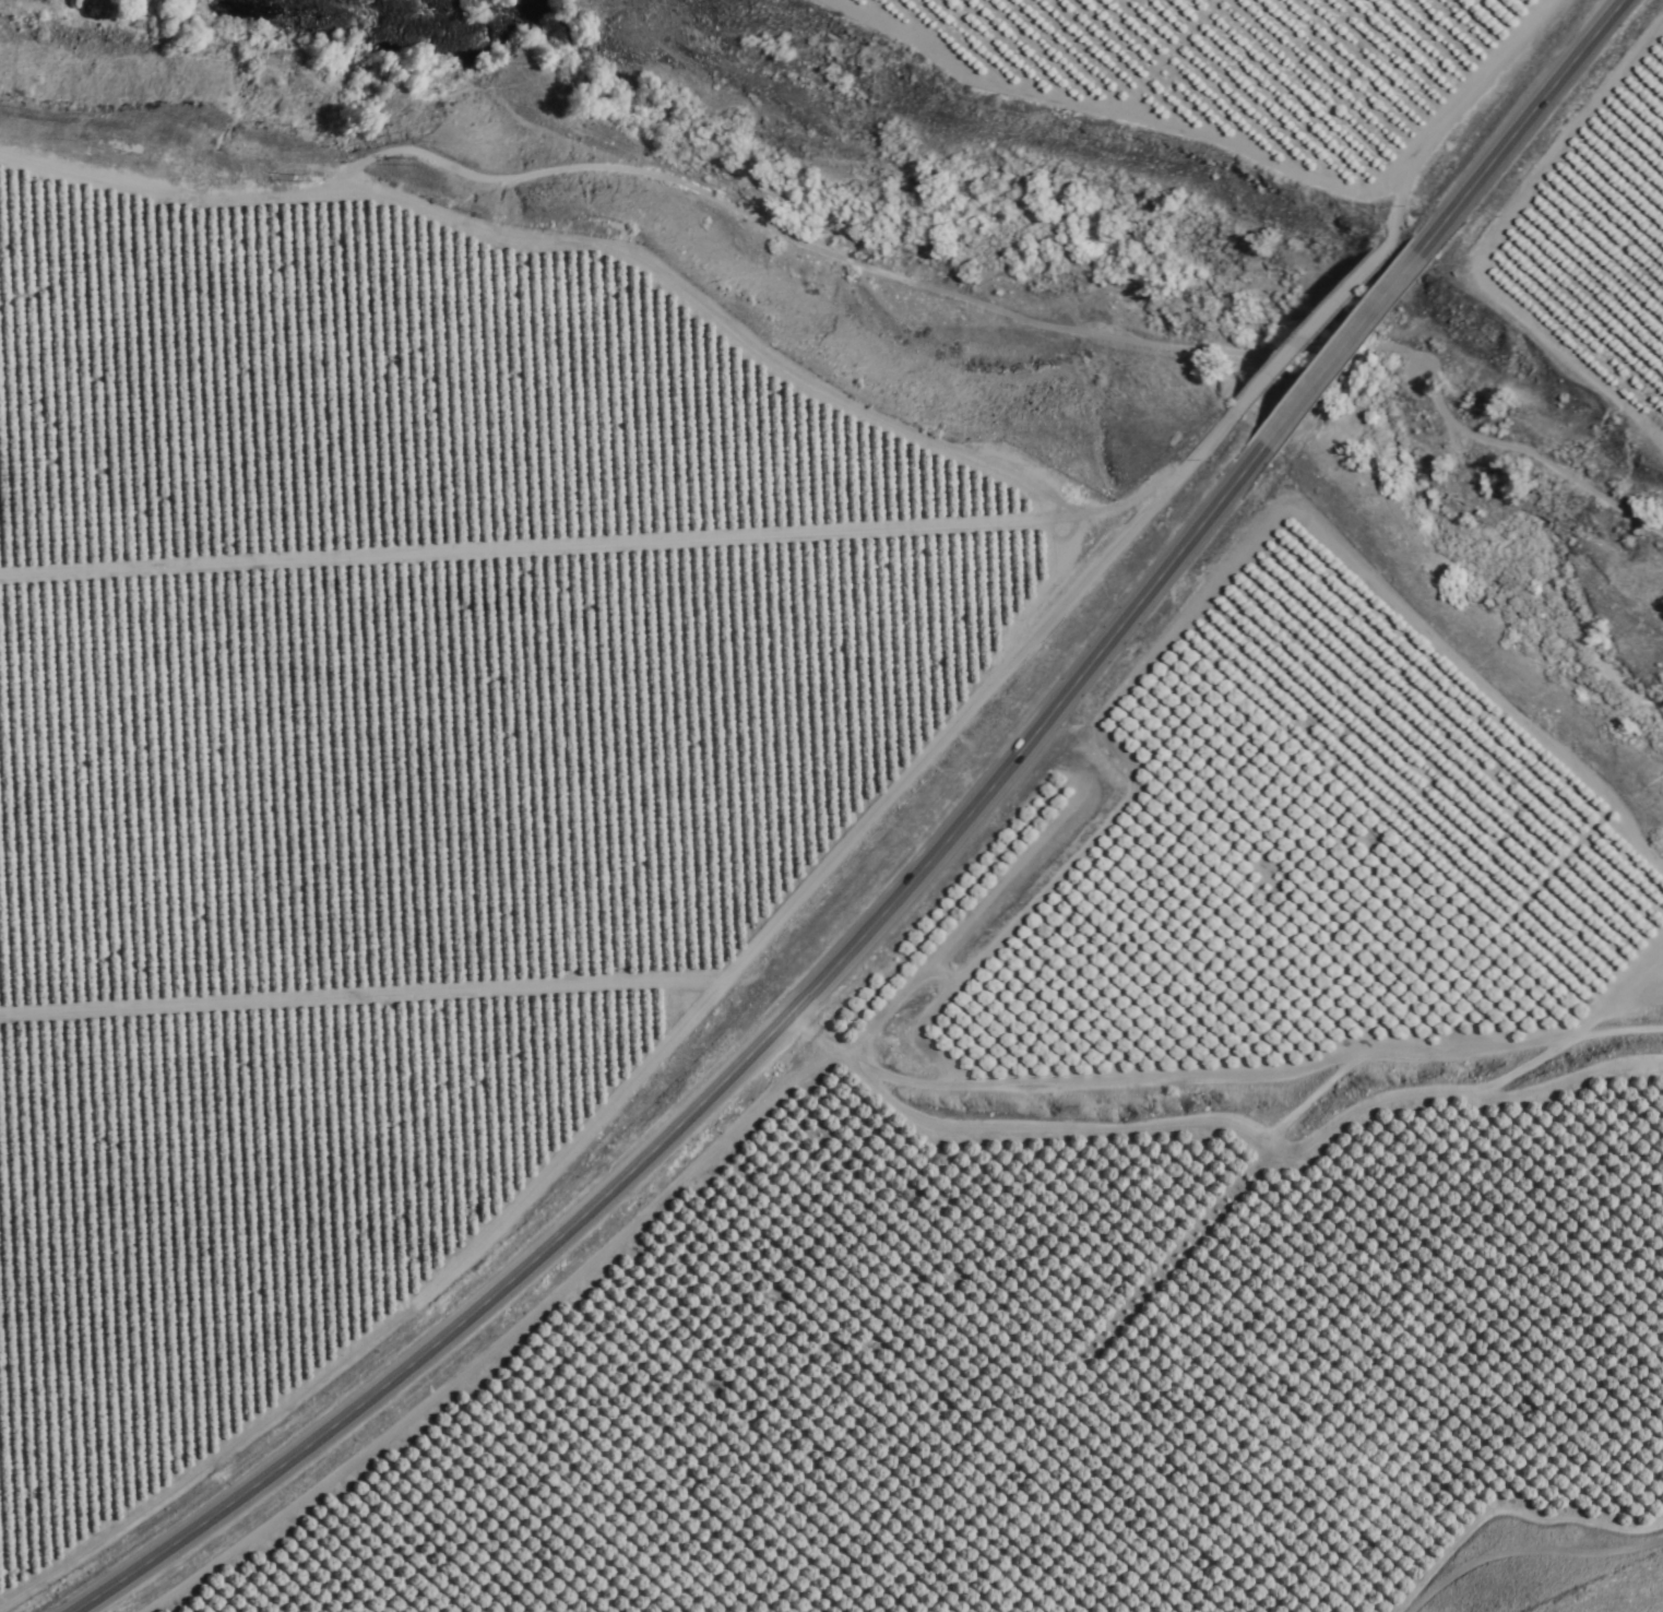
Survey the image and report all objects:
river: (518, 9)
river: (389, 40)
road: (1523, 127)
road: (1340, 351)
crop: (415, 750)
road: (1617, 1039)
road: (722, 1088)

